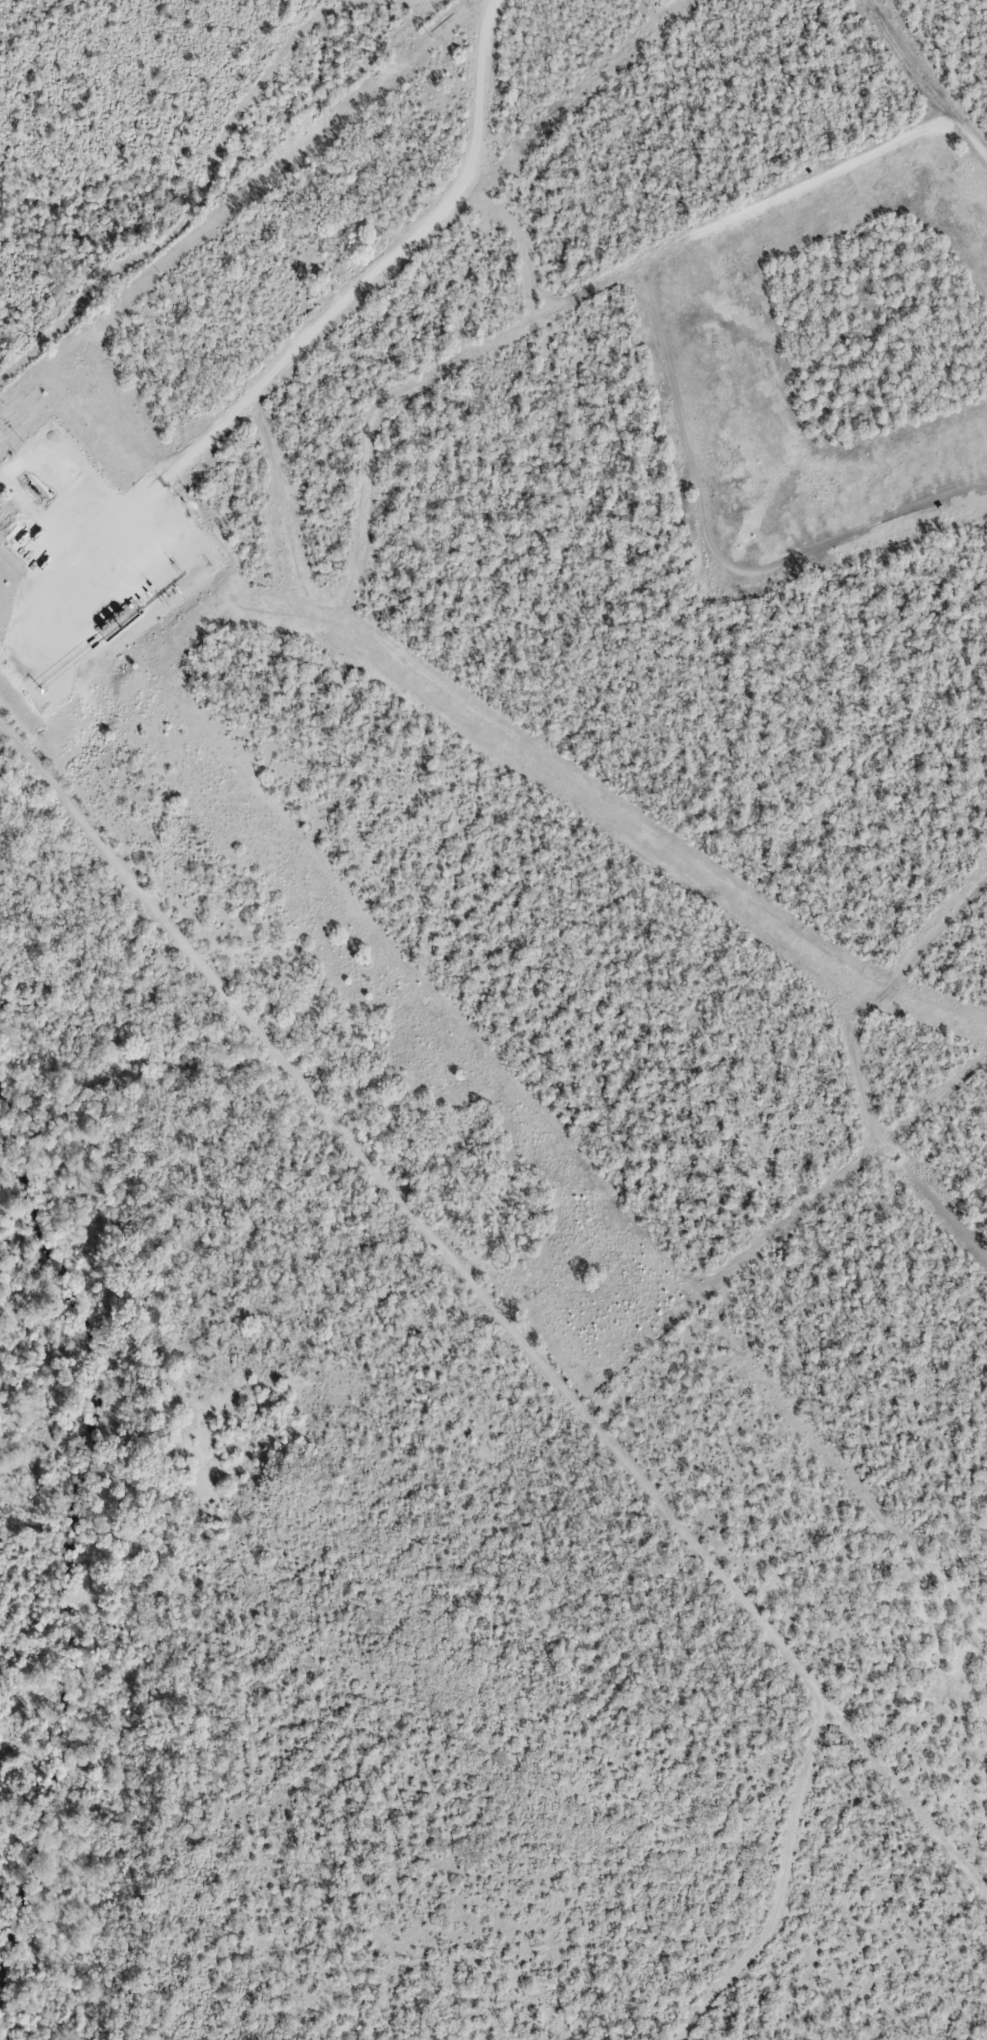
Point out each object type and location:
road: (281, 357)
river: (68, 1538)

